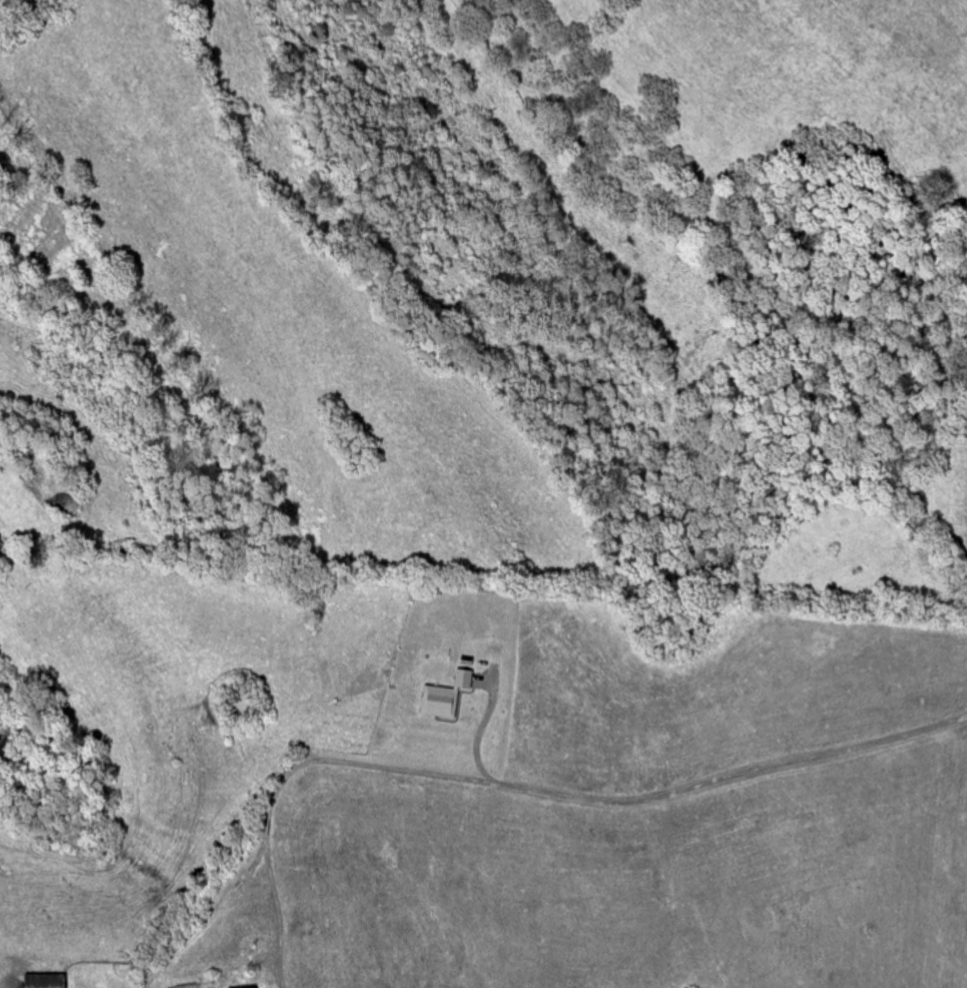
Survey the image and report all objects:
building: (466, 679)
building: (441, 701)
road: (477, 737)
road: (501, 789)
road: (277, 898)
building: (49, 981)

